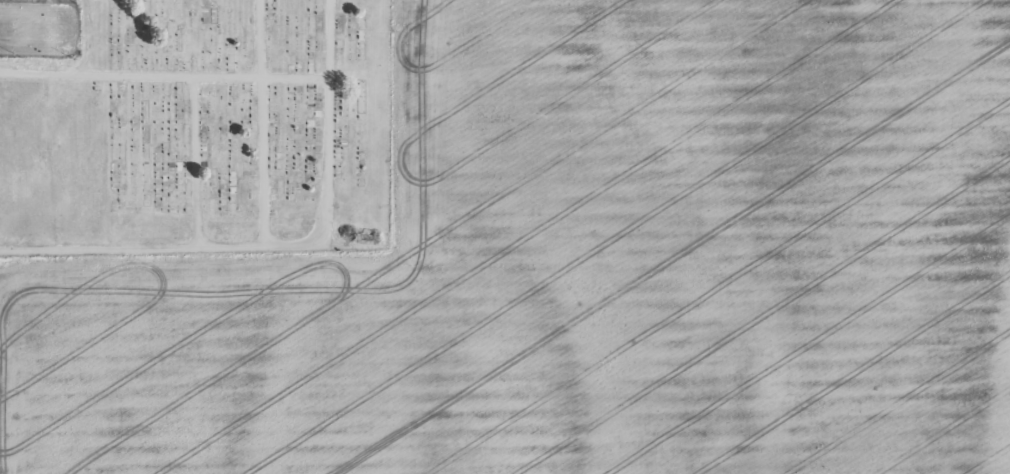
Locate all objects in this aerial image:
road: (400, 21)
park: (249, 126)

